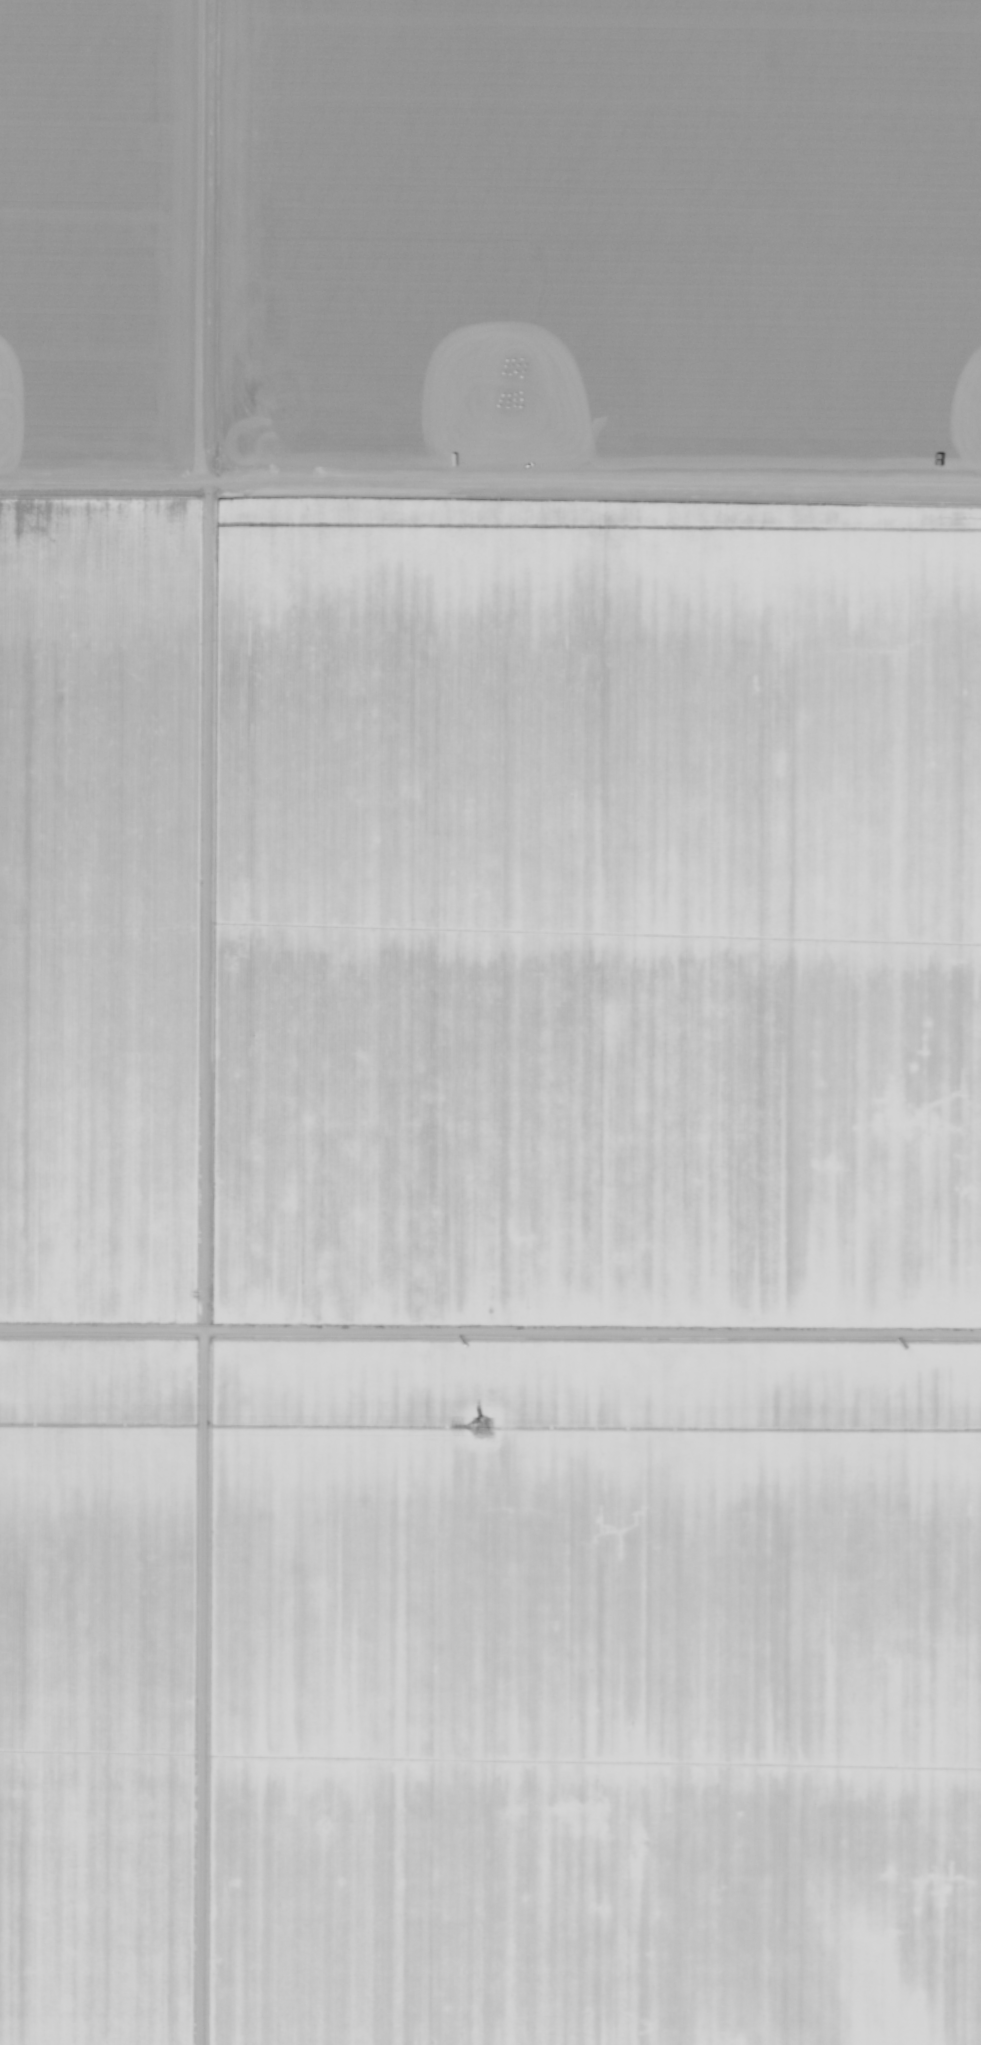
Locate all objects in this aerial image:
road: (490, 484)
road: (217, 1022)
crop: (490, 1272)
power tower: (476, 1426)

